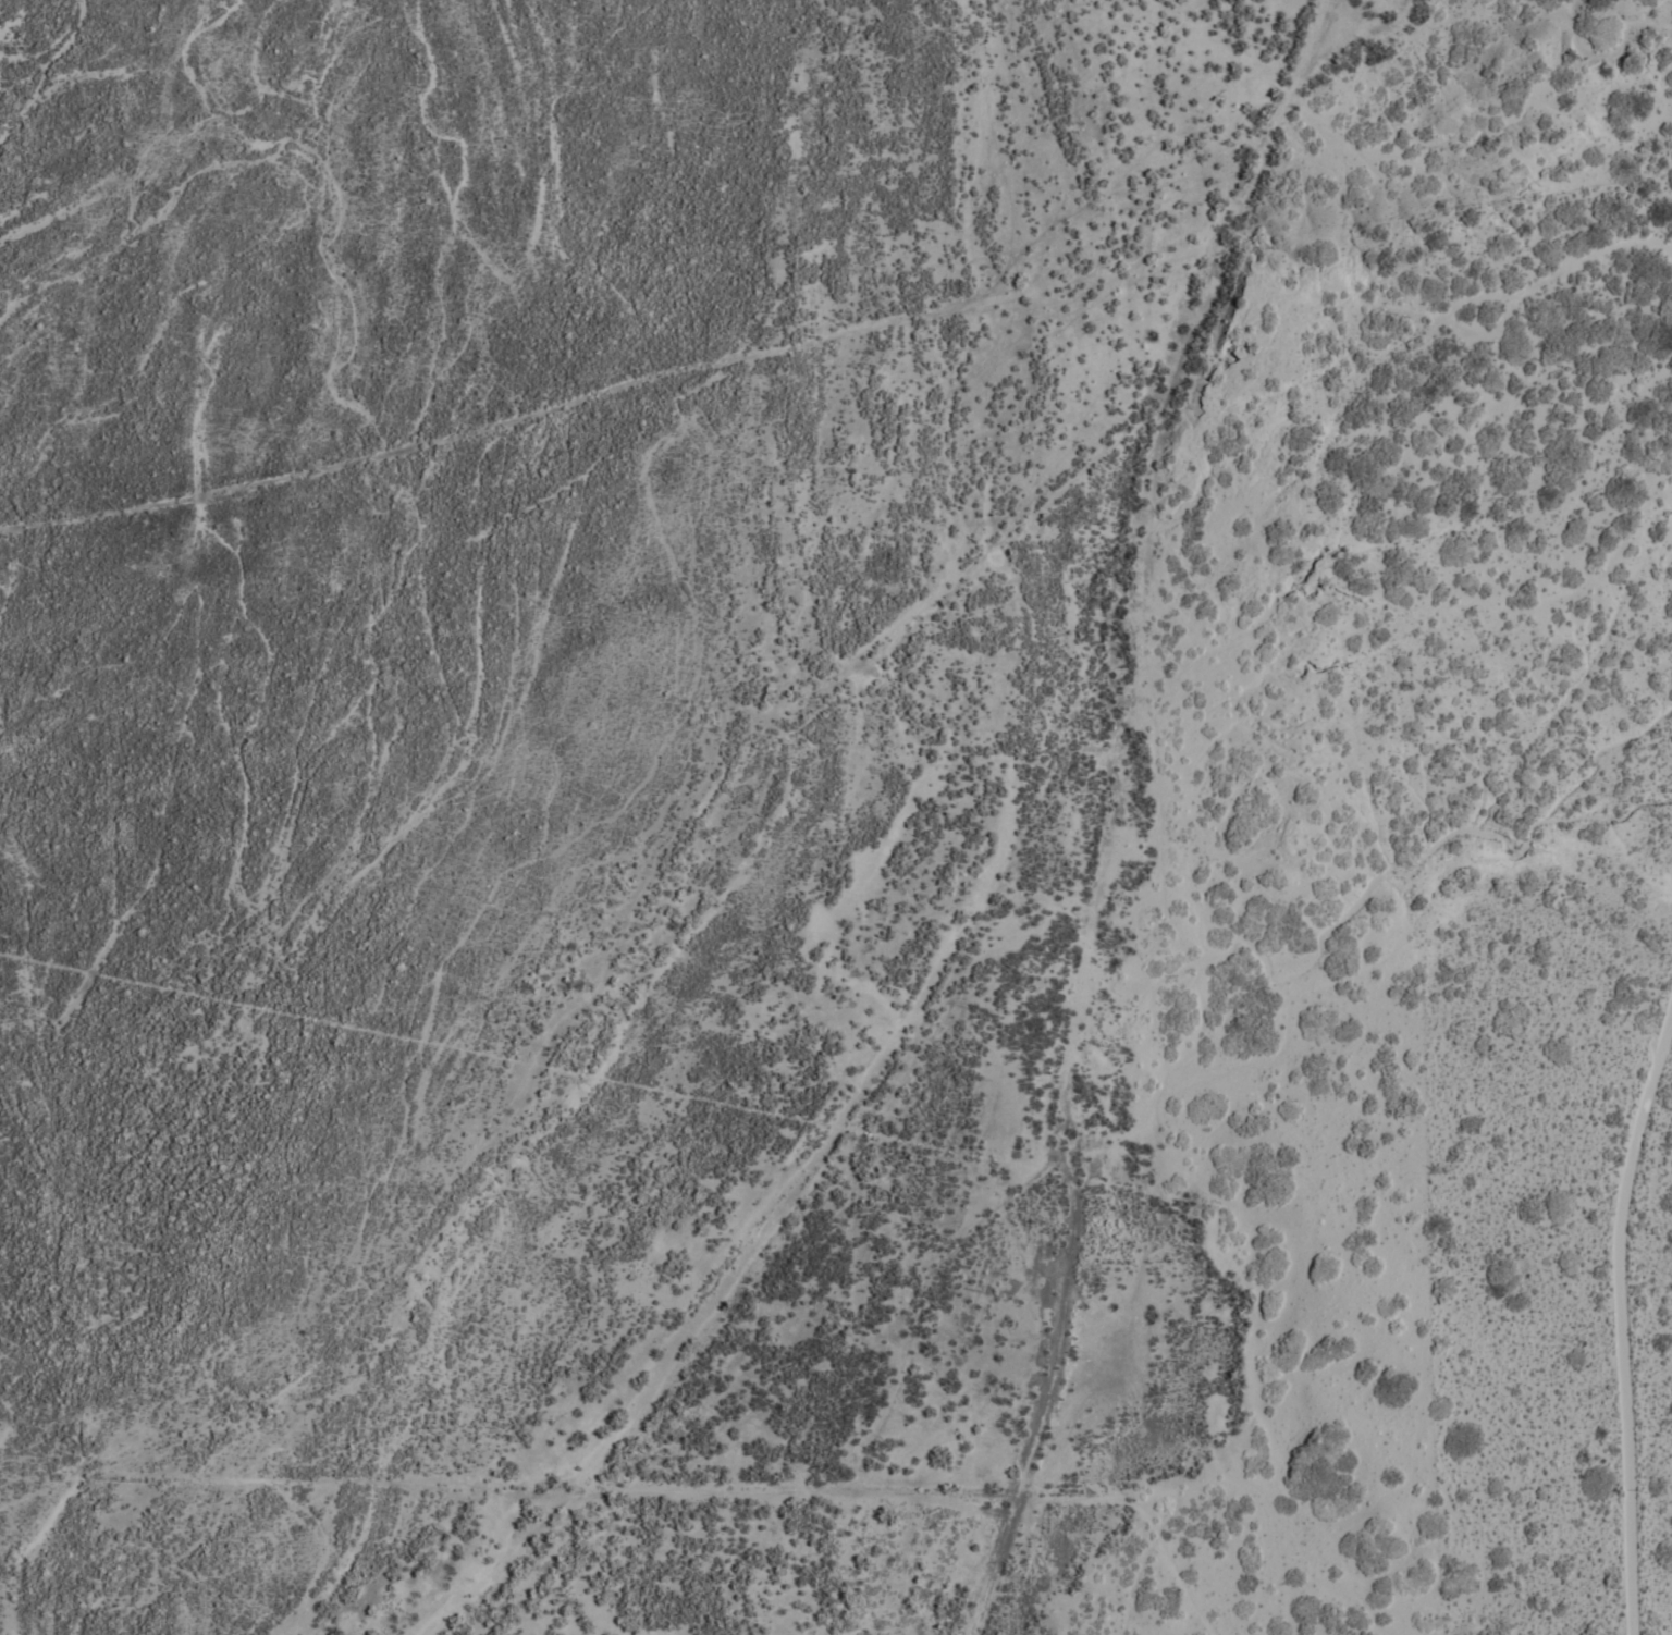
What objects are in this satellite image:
road: (1598, 831)

